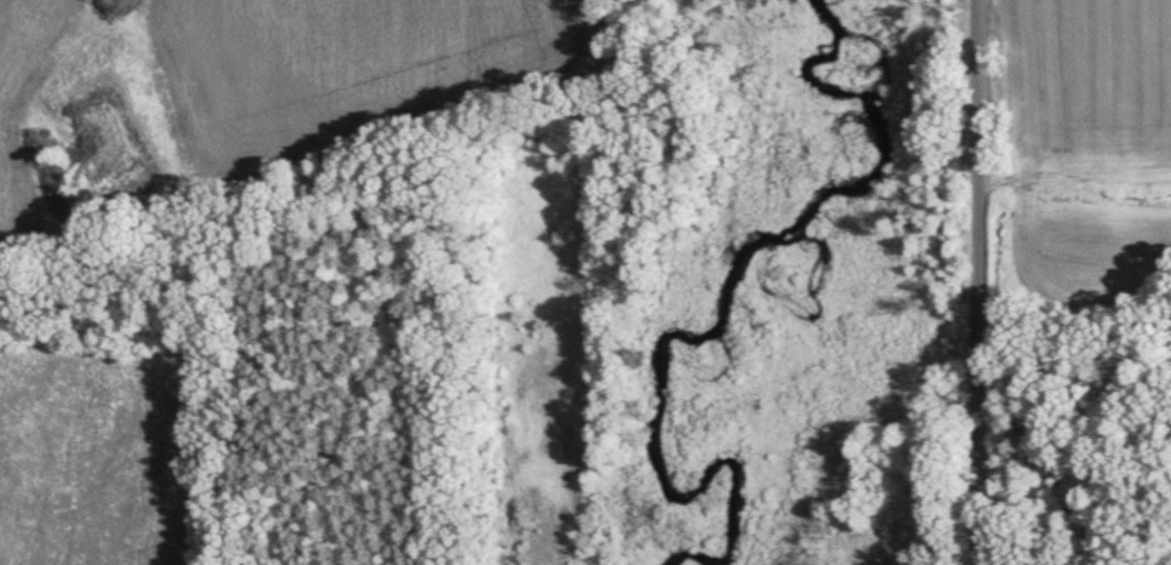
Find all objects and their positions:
road: (982, 282)

